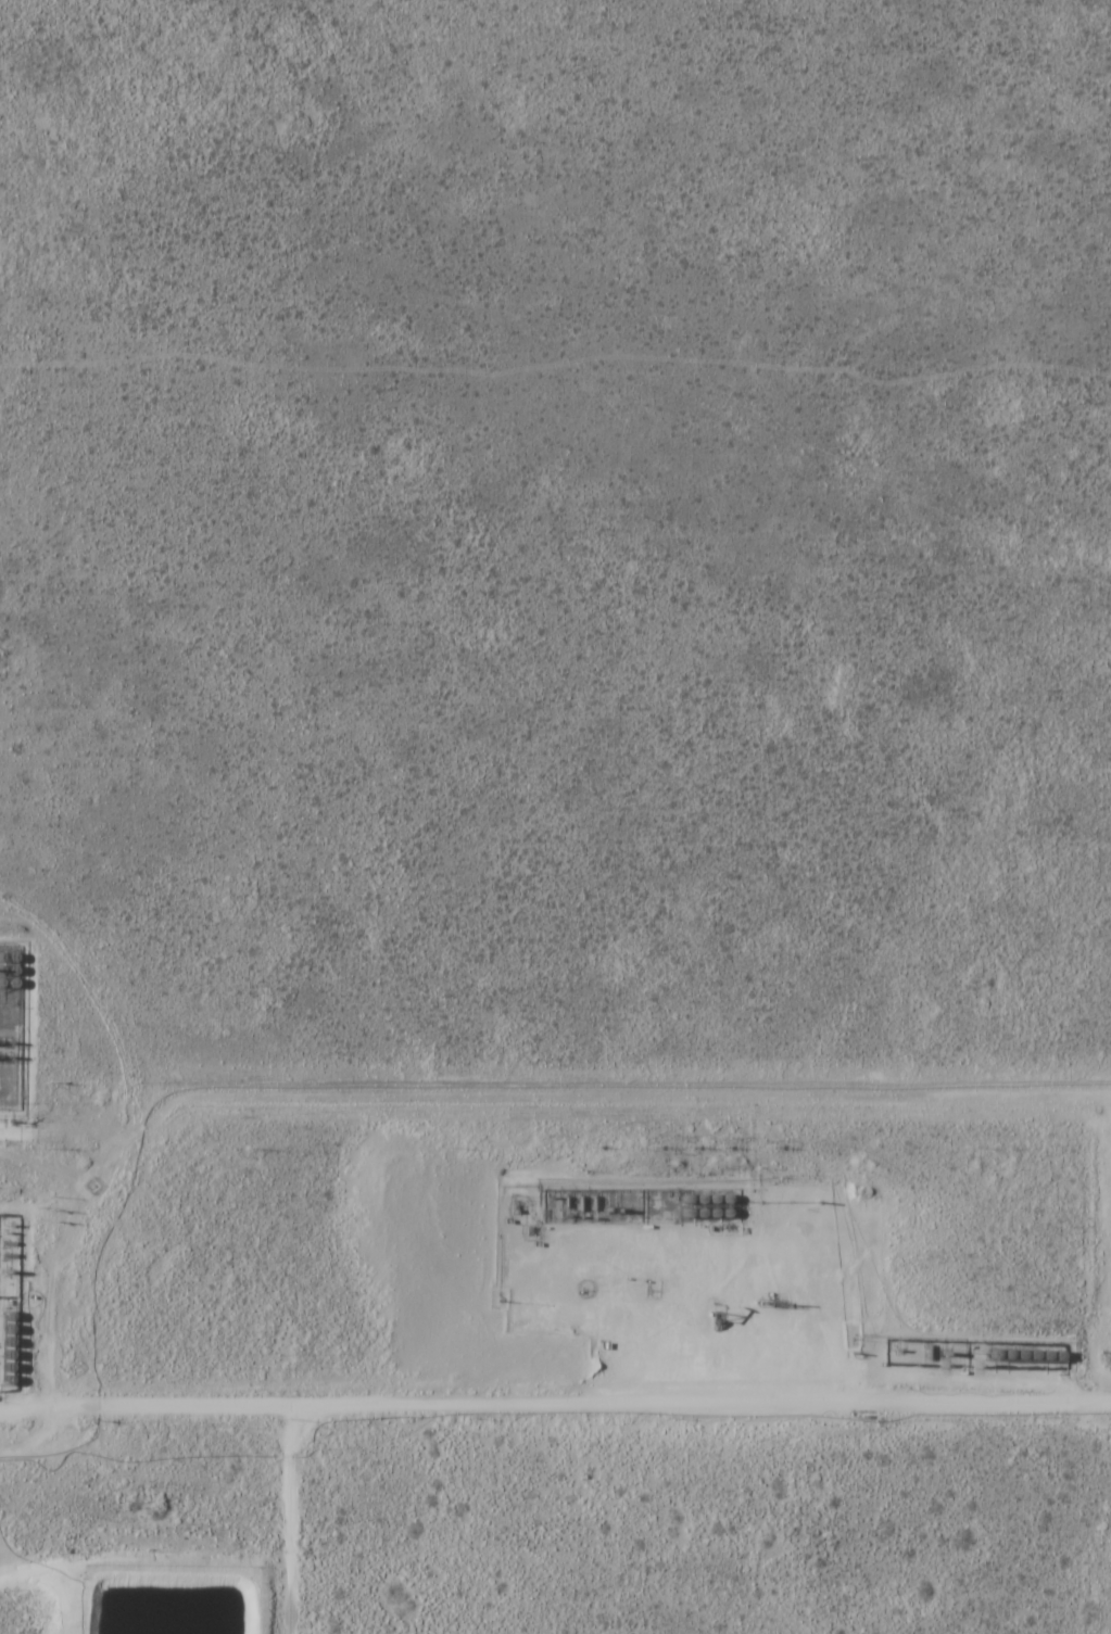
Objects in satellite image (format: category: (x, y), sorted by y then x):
road: (555, 1398)
road: (282, 1517)

